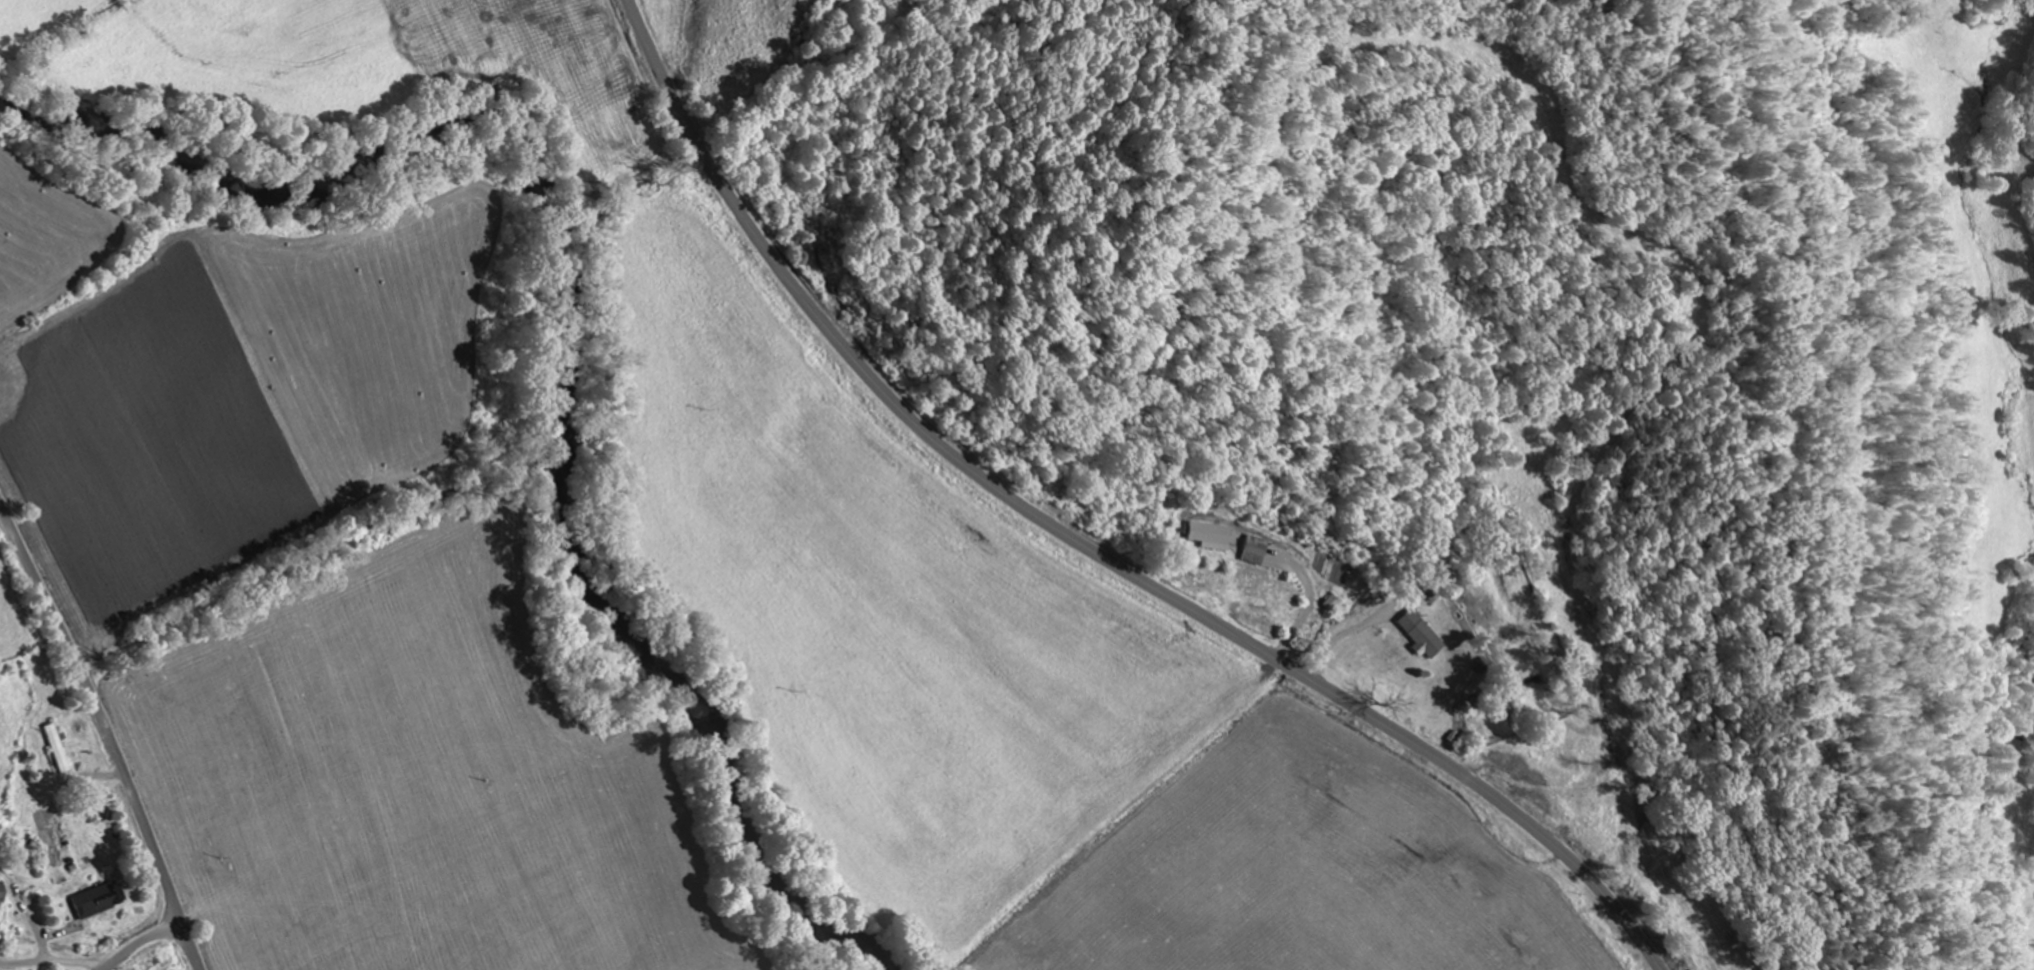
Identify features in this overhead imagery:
road: (1326, 189)
river: (559, 331)
building: (1211, 538)
road: (1084, 544)
building: (1255, 552)
building: (1421, 637)
road: (108, 732)
building: (0, 894)
building: (96, 901)
road: (139, 942)

